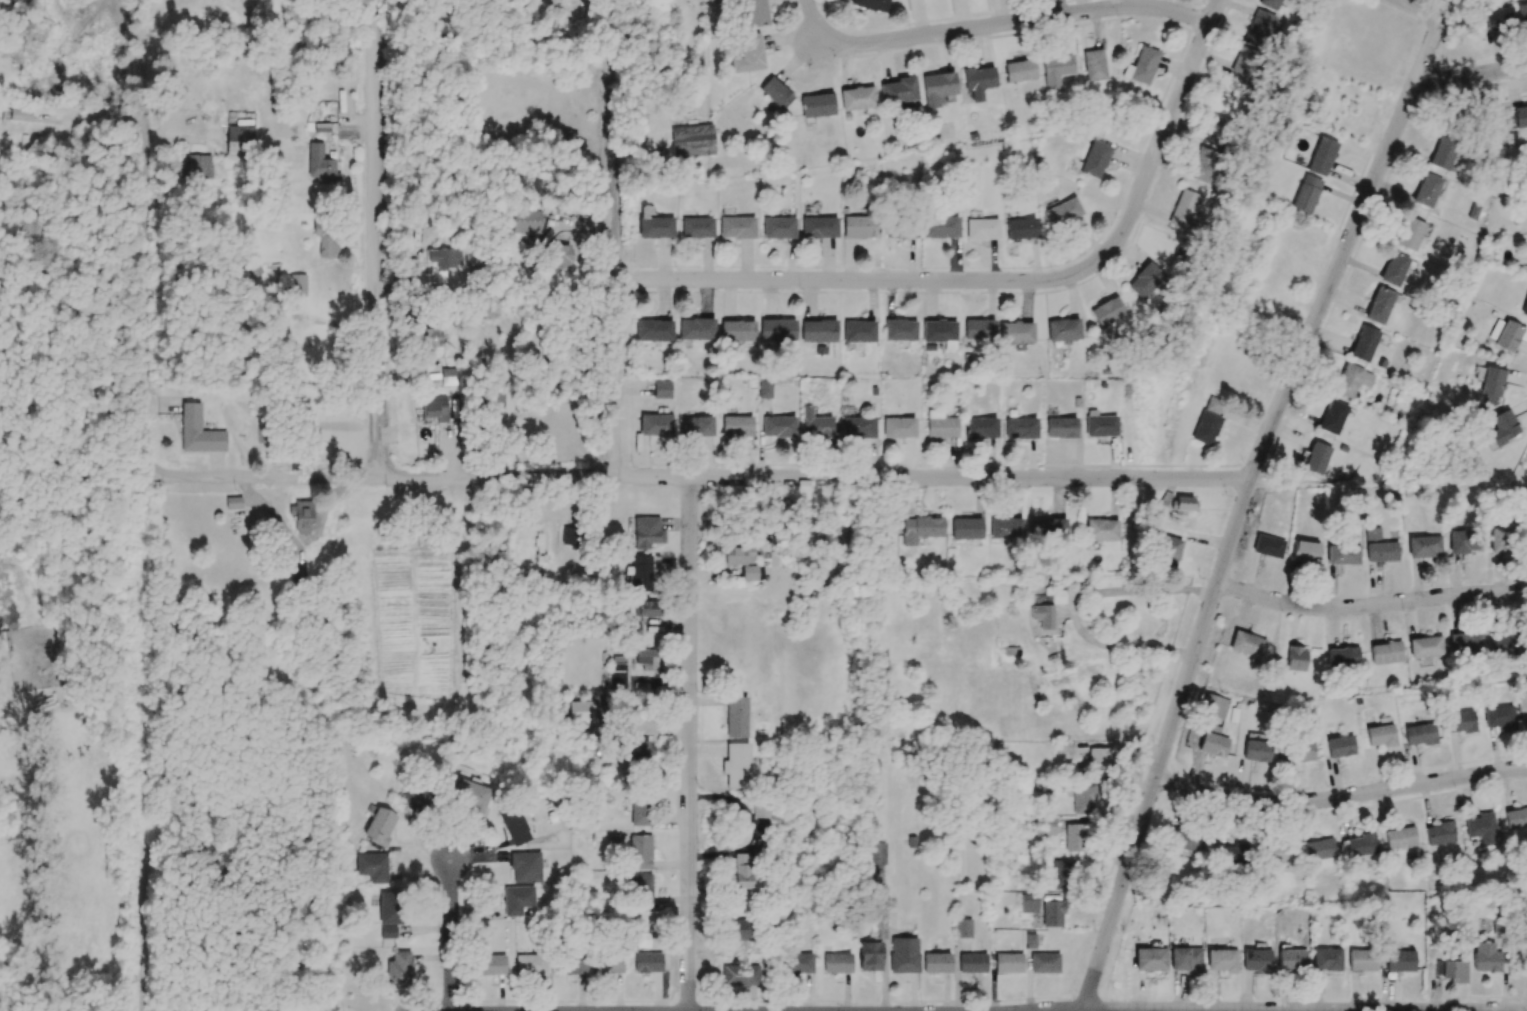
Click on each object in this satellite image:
building: (871, 4)
building: (1269, 4)
road: (1420, 9)
building: (755, 13)
building: (1522, 14)
building: (1499, 17)
road: (1019, 22)
road: (813, 23)
building: (1258, 28)
building: (749, 54)
building: (1245, 63)
building: (1094, 65)
building: (1142, 66)
building: (1020, 70)
building: (1056, 70)
road: (1470, 75)
building: (978, 79)
building: (938, 87)
building: (899, 90)
building: (776, 93)
building: (857, 98)
building: (817, 105)
building: (20, 115)
building: (1513, 117)
building: (321, 127)
road: (1166, 127)
building: (1214, 130)
building: (240, 140)
building: (692, 141)
building: (1444, 151)
building: (1526, 151)
building: (1322, 156)
building: (1095, 159)
building: (321, 165)
building: (1202, 165)
building: (201, 167)
building: (1427, 190)
building: (1306, 194)
building: (1183, 209)
building: (1064, 211)
building: (525, 221)
building: (653, 224)
building: (860, 225)
building: (697, 227)
building: (737, 227)
building: (778, 227)
building: (819, 227)
building: (901, 227)
building: (941, 227)
building: (1021, 228)
building: (982, 229)
road: (145, 234)
building: (1410, 234)
road: (616, 238)
building: (327, 239)
road: (371, 239)
building: (559, 256)
building: (442, 263)
building: (1394, 269)
road: (865, 280)
building: (1144, 280)
building: (299, 285)
building: (1381, 304)
building: (1524, 307)
building: (1107, 311)
building: (696, 329)
building: (900, 329)
building: (979, 329)
building: (1063, 329)
building: (653, 330)
building: (737, 330)
building: (777, 330)
building: (818, 331)
building: (859, 331)
building: (940, 332)
building: (1016, 332)
building: (1506, 334)
building: (431, 337)
building: (1364, 343)
building: (1352, 380)
building: (1491, 385)
building: (661, 389)
building: (764, 389)
building: (434, 407)
building: (1333, 417)
building: (1208, 421)
building: (815, 424)
building: (1101, 424)
building: (655, 425)
building: (940, 425)
building: (696, 426)
building: (737, 426)
building: (779, 426)
building: (858, 427)
building: (898, 427)
building: (980, 427)
building: (1061, 427)
building: (1503, 427)
building: (1021, 428)
building: (198, 431)
building: (262, 434)
building: (1317, 458)
road: (698, 478)
road: (1245, 497)
building: (233, 502)
building: (1183, 504)
building: (301, 516)
building: (1005, 527)
building: (1048, 527)
building: (921, 528)
building: (966, 528)
building: (1101, 529)
building: (647, 532)
building: (569, 535)
building: (1497, 540)
building: (1462, 541)
building: (1424, 545)
building: (1268, 546)
building: (1379, 546)
building: (1305, 551)
building: (1168, 552)
building: (1343, 554)
building: (736, 555)
building: (641, 572)
building: (748, 573)
building: (1056, 597)
road: (1370, 604)
road: (1077, 606)
building: (646, 608)
building: (1043, 615)
building: (1466, 642)
building: (1247, 643)
building: (1502, 644)
building: (1426, 646)
building: (1386, 652)
building: (1343, 656)
building: (1296, 658)
building: (646, 659)
building: (617, 672)
building: (1214, 706)
building: (580, 711)
building: (736, 717)
building: (1500, 717)
building: (1461, 722)
building: (1420, 734)
building: (1380, 735)
building: (1213, 741)
road: (689, 744)
building: (1340, 746)
building: (1257, 750)
building: (637, 751)
building: (1301, 751)
building: (1099, 761)
building: (736, 765)
building: (470, 793)
road: (1340, 796)
building: (418, 798)
building: (1083, 799)
building: (759, 809)
building: (639, 812)
building: (1516, 818)
building: (514, 825)
building: (380, 826)
building: (1048, 826)
building: (1481, 828)
building: (1440, 833)
building: (1075, 837)
building: (1400, 837)
building: (1187, 840)
building: (1362, 845)
building: (639, 851)
building: (877, 853)
building: (1276, 853)
building: (1235, 854)
building: (372, 867)
building: (525, 867)
building: (740, 872)
building: (1061, 875)
building: (641, 889)
building: (517, 899)
building: (1029, 903)
building: (389, 908)
building: (1052, 913)
building: (963, 928)
building: (739, 929)
building: (387, 932)
road: (450, 933)
building: (642, 939)
building: (1030, 941)
building: (904, 955)
building: (870, 956)
building: (1486, 957)
building: (1186, 958)
building: (1150, 959)
building: (1292, 959)
building: (1327, 959)
building: (1221, 960)
building: (1256, 960)
building: (1362, 960)
building: (798, 961)
building: (1399, 961)
building: (648, 962)
building: (1044, 962)
building: (609, 963)
building: (837, 963)
building: (936, 963)
building: (972, 963)
building: (1008, 963)
building: (490, 964)
building: (531, 964)
building: (572, 964)
building: (399, 969)
building: (1451, 970)
building: (740, 975)
road: (1263, 1010)

